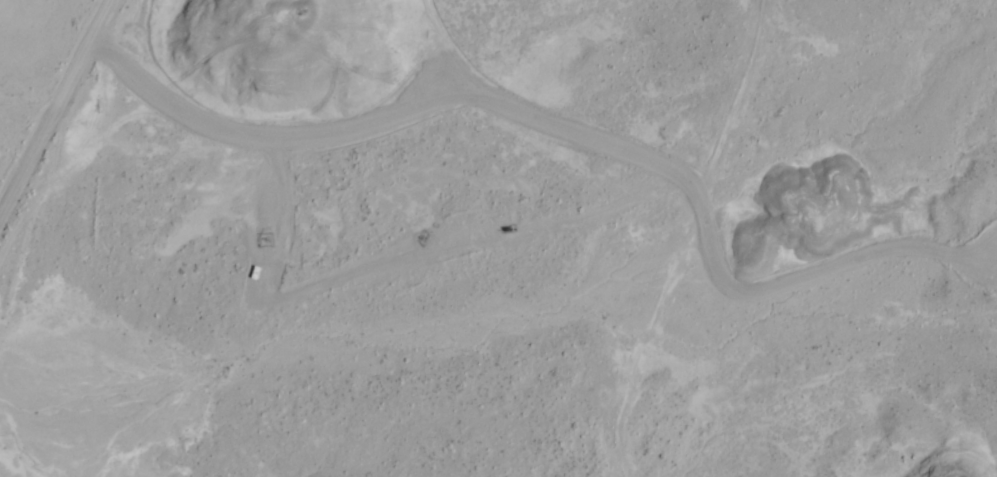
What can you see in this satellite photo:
road: (53, 105)

